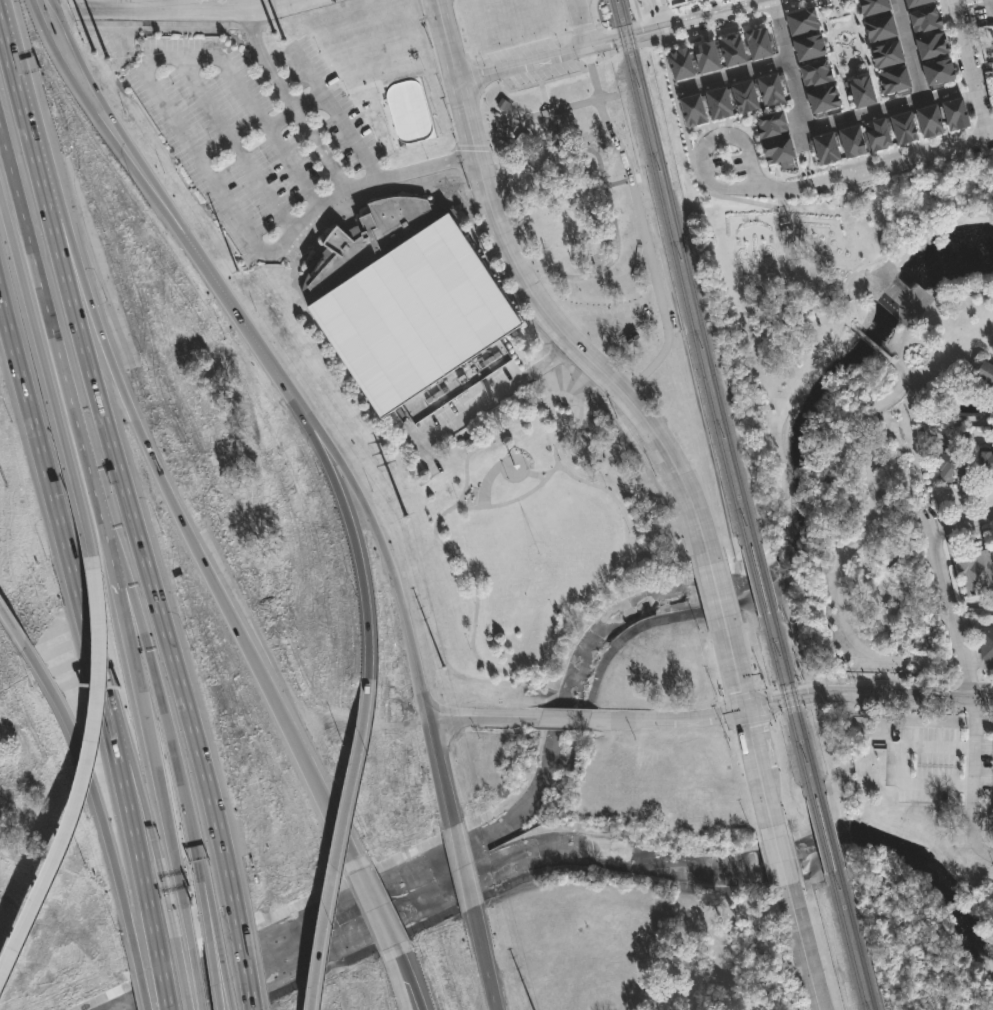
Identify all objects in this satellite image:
building: (676, 1)
road: (770, 1)
street lamp: (806, 2)
building: (916, 2)
road: (52, 4)
road: (187, 4)
road: (176, 7)
building: (872, 7)
road: (988, 8)
road: (742, 9)
road: (661, 11)
road: (735, 19)
building: (802, 19)
building: (926, 19)
road: (650, 21)
road: (580, 25)
building: (880, 27)
road: (645, 28)
parking lot: (983, 29)
power tower: (280, 32)
power tower: (86, 34)
road: (845, 35)
road: (647, 36)
road: (855, 38)
road: (446, 41)
street lamp: (665, 41)
fountain: (844, 41)
building: (758, 43)
road: (835, 43)
building: (932, 44)
street lamp: (559, 45)
building: (809, 46)
road: (910, 48)
building: (732, 51)
street lamp: (319, 52)
building: (886, 53)
road: (835, 55)
road: (864, 55)
building: (705, 56)
road: (267, 59)
street lamp: (577, 61)
building: (680, 63)
street lamp: (478, 64)
road: (522, 66)
building: (939, 70)
road: (309, 71)
building: (816, 72)
road: (732, 75)
road: (788, 76)
building: (893, 79)
road: (560, 80)
street lamp: (499, 81)
street lamp: (172, 84)
street lamp: (261, 84)
building: (769, 90)
building: (862, 90)
street lamp: (670, 95)
building: (744, 95)
street lamp: (348, 96)
building: (823, 98)
building: (718, 103)
building: (499, 107)
road: (872, 109)
building: (693, 110)
road: (541, 113)
building: (954, 114)
road: (740, 117)
road: (342, 120)
building: (929, 120)
road: (97, 122)
road: (114, 123)
building: (770, 124)
building: (904, 127)
road: (25, 129)
street lamp: (593, 129)
parking lot: (254, 133)
street lamp: (974, 133)
building: (878, 134)
road: (731, 135)
road: (193, 138)
building: (851, 140)
street lamp: (378, 141)
street lamp: (693, 142)
street lamp: (212, 144)
road: (235, 146)
building: (825, 148)
building: (778, 149)
road: (470, 150)
road: (942, 150)
street lamp: (308, 151)
building: (536, 152)
road: (690, 152)
road: (319, 154)
road: (876, 154)
street lamp: (426, 159)
parking lot: (737, 161)
street lamp: (727, 165)
street lamp: (916, 165)
parking lot: (716, 166)
road: (428, 168)
road: (294, 169)
street lamp: (818, 176)
street lamp: (133, 185)
road: (620, 185)
road: (608, 189)
street lamp: (705, 189)
street lamp: (804, 195)
street lamp: (263, 222)
road: (644, 225)
park: (593, 229)
road: (899, 244)
road: (509, 254)
railway: (687, 266)
road: (797, 267)
power tower: (233, 268)
railway: (678, 268)
road: (533, 271)
road: (500, 278)
park: (809, 287)
building: (409, 306)
road: (248, 332)
street lamp: (224, 339)
road: (871, 344)
road: (55, 347)
street lamp: (539, 379)
street lamp: (572, 381)
road: (47, 385)
road: (497, 395)
street lamp: (592, 399)
road: (886, 399)
building: (990, 400)
street lamp: (496, 408)
street lamp: (576, 430)
road: (498, 432)
road: (37, 443)
road: (580, 447)
road: (865, 448)
road: (329, 452)
road: (322, 455)
street lamp: (508, 456)
street lamp: (559, 460)
building: (984, 465)
building: (951, 467)
street lamp: (527, 469)
road: (676, 473)
street lamp: (318, 476)
street lamp: (506, 479)
road: (533, 479)
street lamp: (606, 487)
street lamp: (456, 498)
road: (900, 506)
power tower: (401, 514)
road: (960, 517)
street lamp: (629, 533)
park: (524, 539)
flagpole: (525, 541)
road: (197, 552)
street lamp: (449, 556)
road: (940, 568)
railway: (763, 572)
building: (974, 572)
railway: (754, 575)
road: (147, 576)
road: (361, 582)
street lamp: (612, 582)
road: (715, 592)
street lamp: (355, 597)
road: (129, 601)
road: (120, 603)
street lamp: (473, 603)
road: (840, 604)
street lamp: (554, 616)
road: (12, 627)
road: (411, 645)
building: (986, 645)
street lamp: (469, 650)
road: (94, 659)
road: (961, 660)
road: (734, 664)
road: (486, 670)
power tower: (445, 685)
road: (868, 696)
railway: (794, 697)
railway: (784, 700)
traffic signals: (746, 711)
road: (479, 718)
road: (569, 720)
road: (677, 720)
road: (173, 760)
road: (973, 764)
road: (758, 769)
parking lot: (945, 771)
road: (82, 784)
road: (131, 790)
park: (929, 790)
road: (159, 796)
road: (93, 805)
road: (992, 809)
railway: (829, 834)
railway: (819, 836)
road: (978, 846)
road: (135, 848)
road: (338, 850)
road: (778, 857)
road: (461, 868)
toll booth: (165, 897)
toll booth: (180, 898)
road: (165, 901)
road: (208, 909)
road: (374, 909)
road: (204, 912)
railway: (858, 946)
road: (803, 948)
railway: (848, 948)
road: (483, 960)
road: (398, 962)
road: (244, 968)
road: (223, 973)
road: (212, 976)
road: (194, 980)
road: (182, 982)
road: (163, 987)
road: (139, 992)
road: (408, 994)
road: (413, 994)

